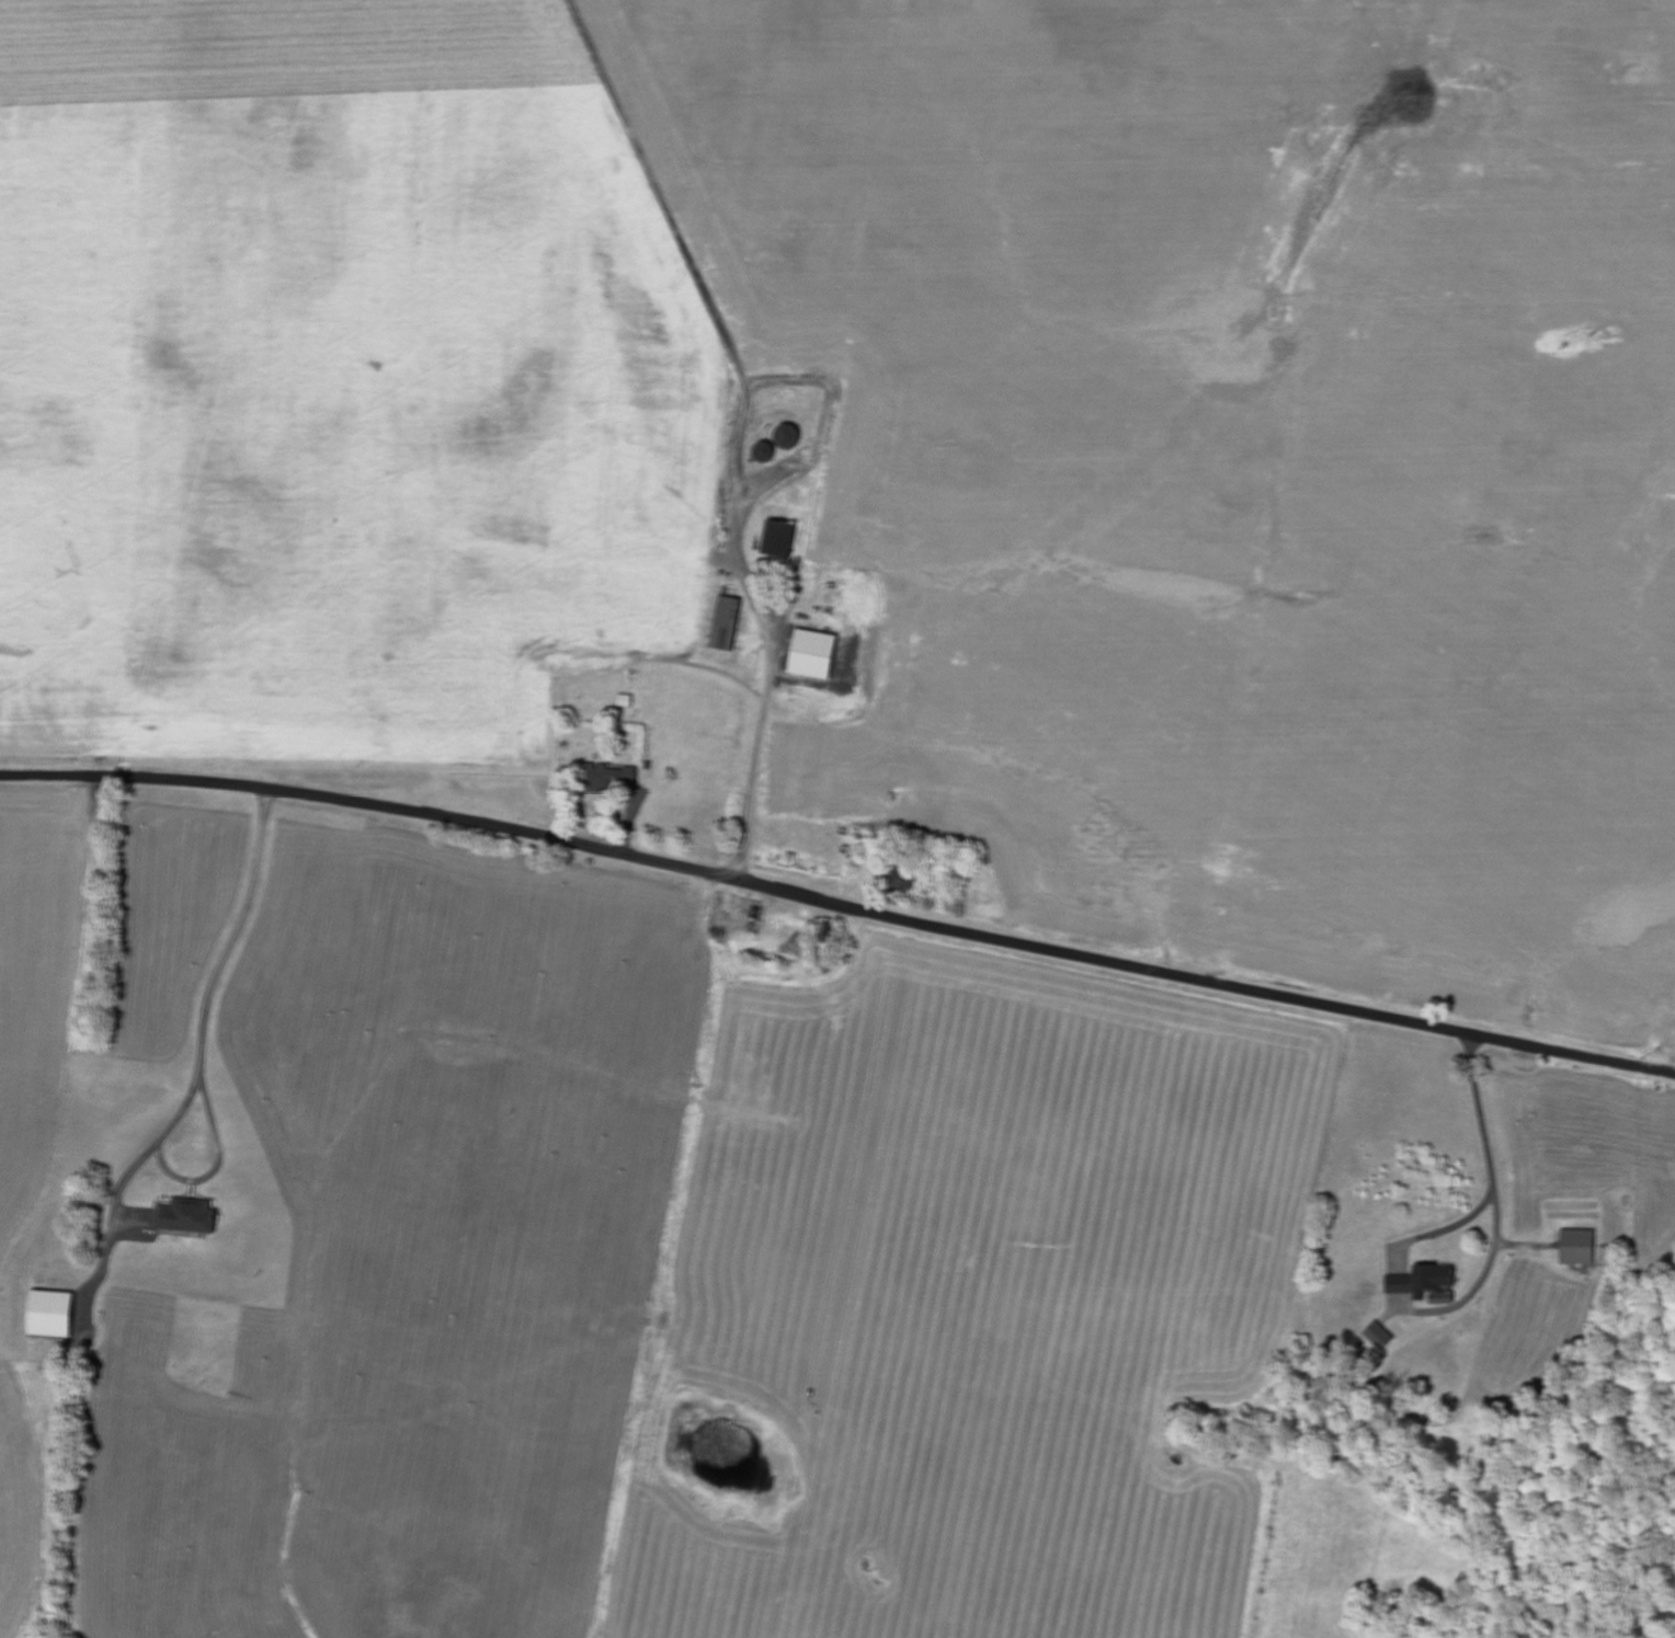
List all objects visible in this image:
building: (780, 538)
building: (727, 623)
building: (813, 654)
road: (993, 752)
building: (608, 779)
road: (772, 887)
road: (1607, 1061)
road: (1494, 1194)
building: (189, 1217)
building: (1580, 1248)
building: (1424, 1282)
building: (52, 1315)
building: (1381, 1337)

